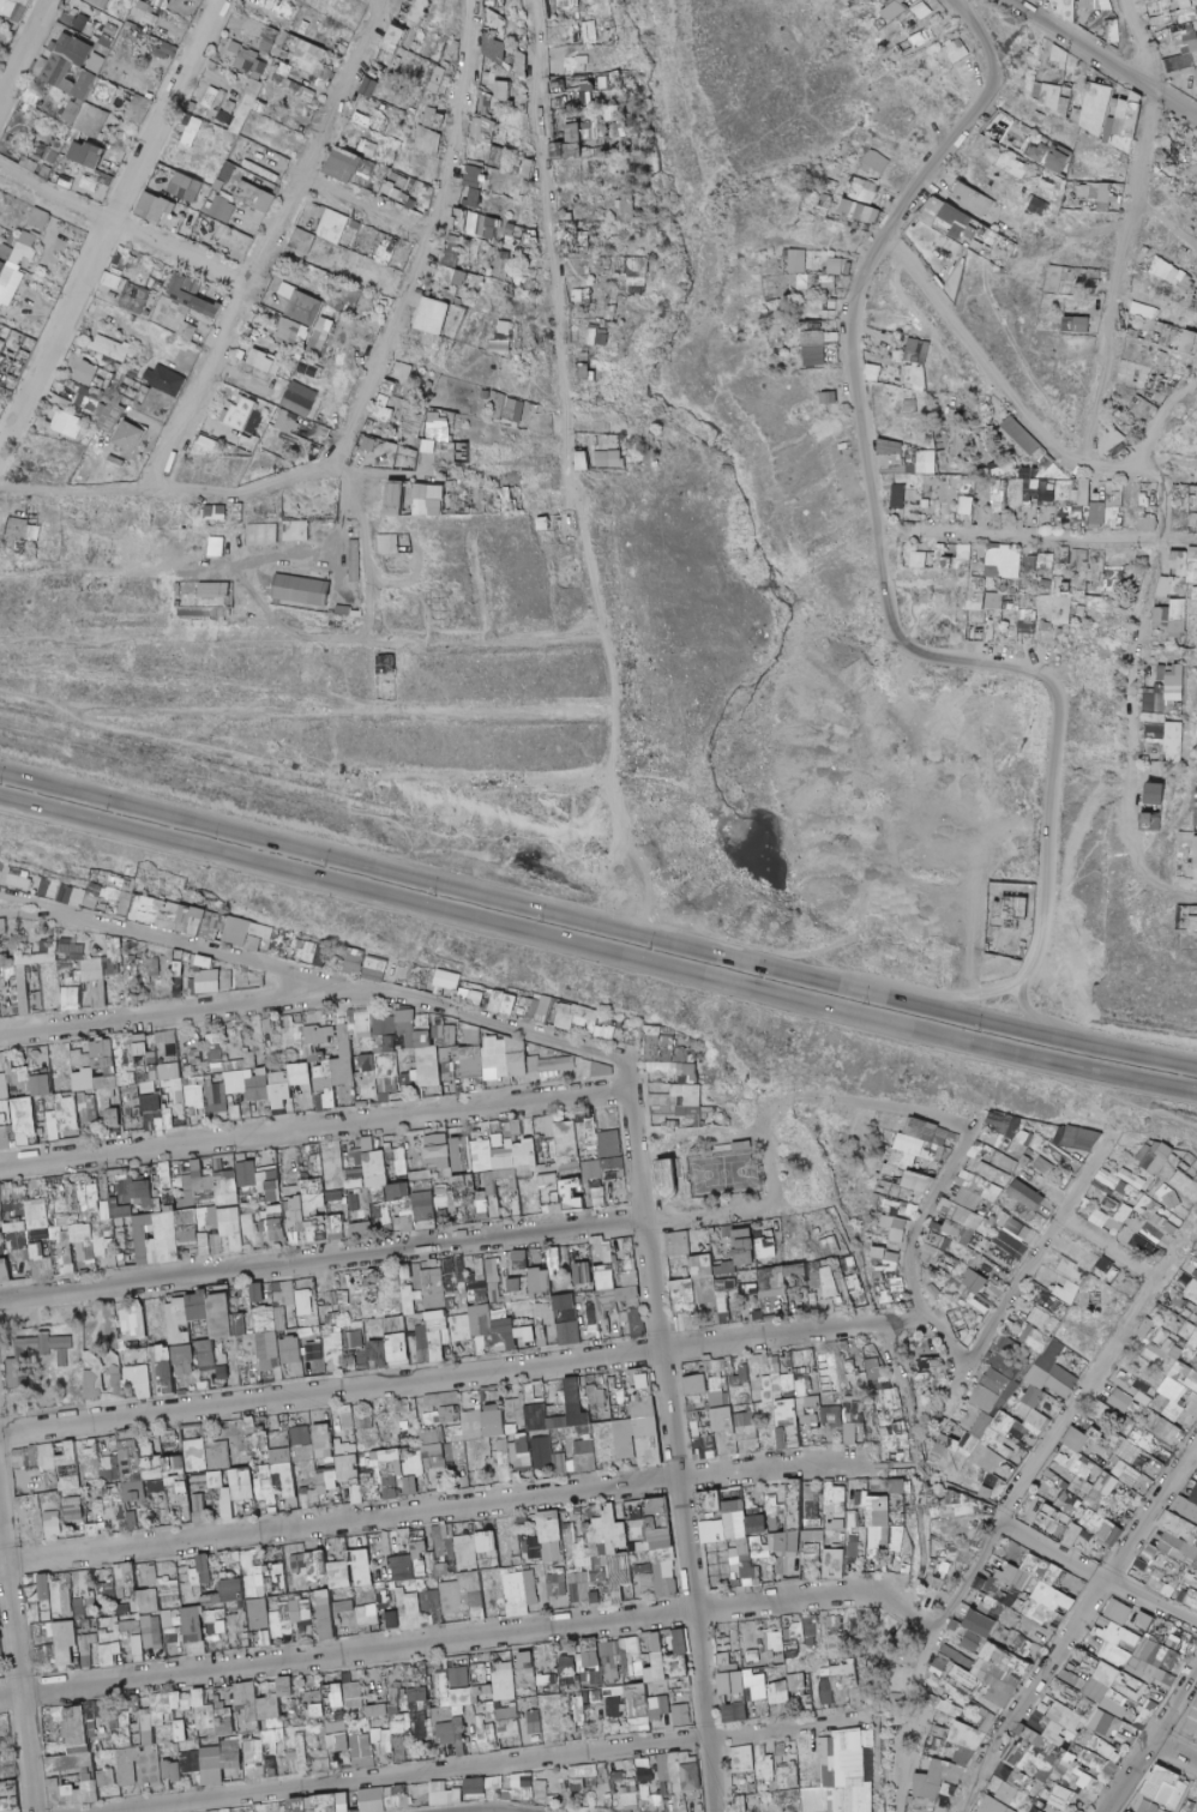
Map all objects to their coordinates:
park: (705, 1166)
park: (902, 1674)

